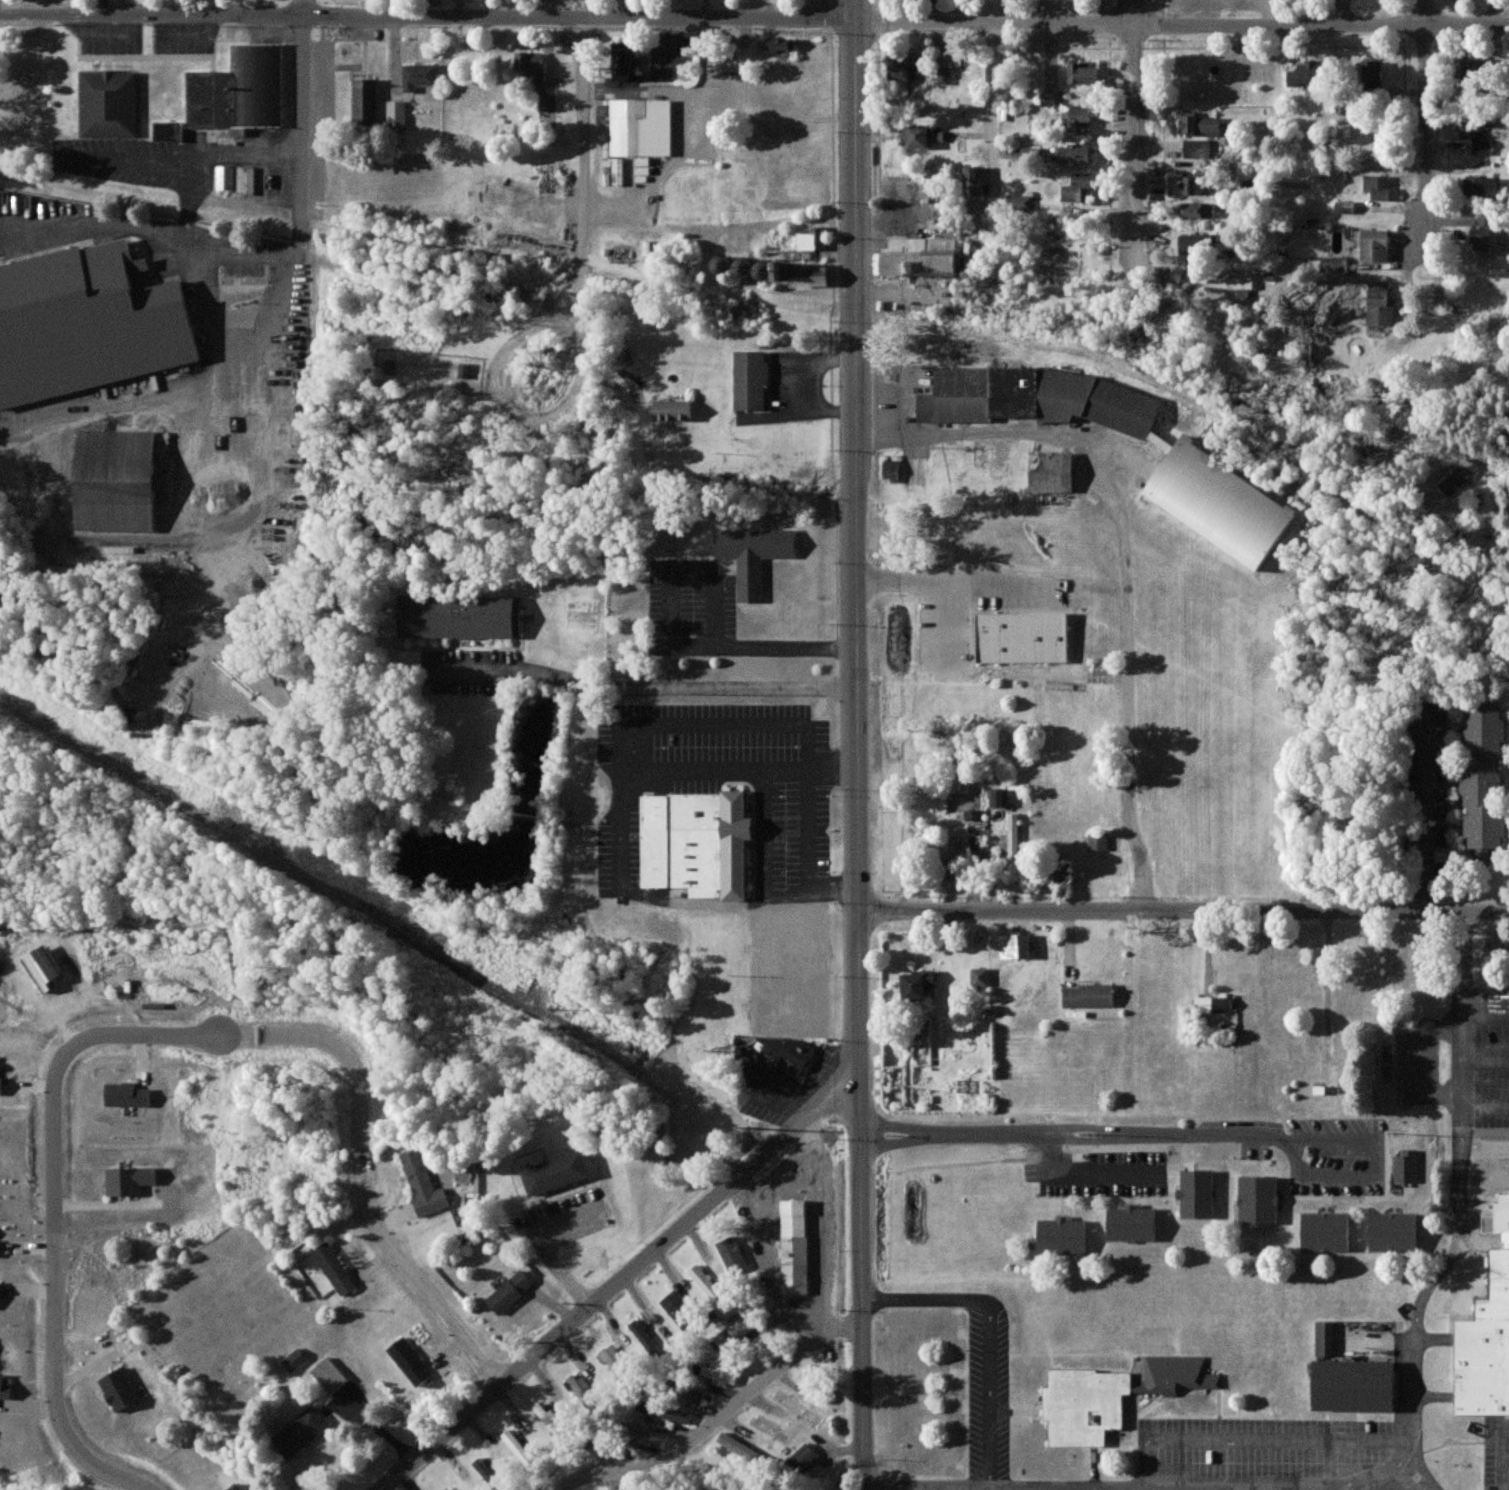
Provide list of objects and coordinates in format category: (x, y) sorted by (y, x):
road: (428, 16)
road: (1182, 23)
building: (779, 45)
building: (623, 62)
building: (906, 69)
building: (1471, 69)
building: (1083, 72)
building: (1307, 74)
building: (1373, 74)
building: (943, 76)
building: (418, 77)
building: (536, 78)
road: (995, 86)
building: (240, 92)
building: (1050, 98)
road: (305, 100)
building: (365, 102)
building: (108, 105)
building: (396, 114)
road: (1135, 114)
building: (1081, 117)
building: (1199, 126)
building: (640, 129)
road: (1425, 130)
road: (584, 131)
building: (168, 132)
building: (920, 137)
building: (1475, 137)
building: (1073, 154)
building: (1190, 154)
building: (618, 172)
building: (225, 177)
building: (245, 180)
building: (974, 182)
building: (1482, 185)
building: (1377, 186)
building: (1197, 187)
building: (1078, 189)
building: (1019, 203)
building: (1345, 206)
building: (1200, 211)
building: (1484, 222)
building: (813, 239)
building: (1482, 239)
building: (1373, 243)
building: (1188, 244)
building: (920, 256)
building: (1334, 264)
building: (743, 266)
building: (803, 274)
building: (1232, 285)
building: (1380, 303)
building: (87, 322)
road: (246, 365)
building: (389, 365)
building: (463, 370)
building: (750, 380)
building: (1020, 396)
building: (672, 410)
building: (1163, 442)
building: (890, 470)
building: (1051, 472)
building: (1458, 477)
building: (115, 480)
building: (1220, 502)
road: (1125, 554)
building: (753, 555)
building: (459, 616)
building: (1024, 637)
road: (671, 638)
road: (647, 690)
road: (856, 745)
building: (1485, 777)
building: (998, 797)
building: (973, 815)
road: (1427, 815)
road: (809, 829)
building: (1011, 841)
building: (1098, 842)
building: (696, 843)
building: (1061, 874)
road: (1183, 913)
building: (1015, 946)
building: (42, 969)
building: (979, 977)
building: (917, 985)
building: (1089, 996)
building: (1223, 1004)
building: (1204, 1005)
road: (1485, 1015)
road: (148, 1033)
building: (785, 1053)
road: (1485, 1063)
building: (0, 1085)
building: (126, 1095)
road: (1484, 1108)
road: (893, 1127)
road: (1077, 1139)
road: (1335, 1140)
road: (1295, 1156)
road: (1375, 1158)
building: (1406, 1167)
building: (556, 1173)
road: (1336, 1174)
building: (129, 1181)
building: (423, 1185)
building: (1198, 1194)
building: (1259, 1200)
road: (1460, 1203)
building: (1133, 1224)
building: (1327, 1232)
building: (1395, 1232)
building: (1063, 1236)
building: (795, 1248)
building: (732, 1255)
building: (334, 1270)
road: (418, 1280)
road: (618, 1280)
building: (709, 1288)
building: (0, 1292)
building: (510, 1292)
building: (677, 1308)
building: (733, 1331)
road: (990, 1334)
building: (644, 1337)
building: (1487, 1337)
building: (1325, 1339)
building: (294, 1361)
building: (409, 1363)
building: (328, 1375)
building: (720, 1376)
building: (1177, 1376)
building: (1355, 1386)
building: (5, 1387)
building: (580, 1387)
building: (119, 1390)
road: (55, 1394)
building: (692, 1394)
building: (1085, 1406)
building: (664, 1411)
road: (719, 1417)
building: (549, 1421)
building: (300, 1432)
building: (649, 1435)
building: (741, 1449)
building: (519, 1451)
building: (801, 1459)
building: (484, 1470)
road: (1253, 1486)
building: (234, 1487)
road: (1188, 1489)

